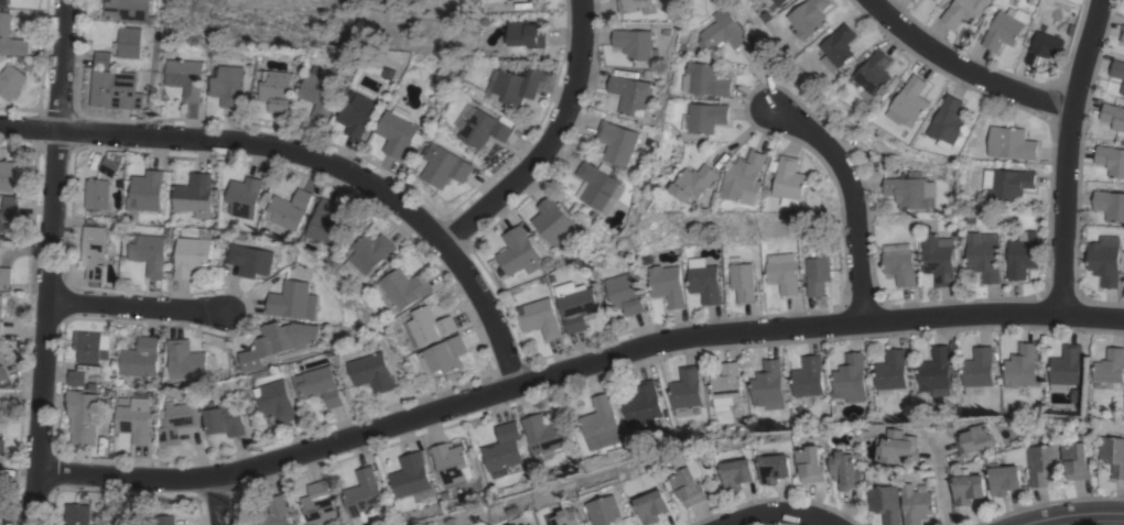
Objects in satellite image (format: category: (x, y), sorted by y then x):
building: (529, 0)
building: (911, 0)
building: (914, 0)
building: (931, 0)
building: (934, 0)
building: (4, 2)
building: (777, 3)
building: (637, 6)
building: (126, 9)
building: (963, 11)
building: (811, 18)
building: (4, 25)
building: (1004, 29)
building: (722, 30)
building: (528, 33)
building: (1122, 34)
building: (128, 42)
building: (635, 44)
building: (840, 47)
building: (1042, 48)
building: (102, 58)
building: (1117, 68)
road: (962, 69)
building: (875, 72)
building: (185, 77)
building: (705, 79)
building: (11, 81)
building: (227, 85)
building: (516, 85)
building: (1123, 88)
building: (115, 89)
building: (275, 90)
building: (318, 92)
building: (630, 94)
building: (910, 102)
building: (356, 114)
building: (1113, 116)
building: (707, 117)
building: (948, 122)
building: (483, 127)
building: (397, 131)
road: (544, 141)
building: (616, 142)
building: (1010, 142)
road: (1064, 154)
road: (313, 158)
building: (1111, 160)
building: (108, 166)
building: (445, 166)
building: (8, 175)
building: (747, 178)
building: (700, 179)
building: (791, 182)
building: (1007, 183)
building: (599, 187)
building: (147, 190)
building: (910, 192)
building: (97, 194)
road: (851, 194)
building: (195, 195)
building: (242, 197)
building: (1110, 205)
building: (8, 209)
building: (289, 209)
building: (551, 220)
building: (327, 223)
building: (93, 251)
building: (149, 252)
building: (518, 252)
building: (192, 255)
building: (370, 255)
building: (983, 255)
building: (1020, 258)
building: (250, 260)
building: (938, 260)
building: (1104, 260)
road: (46, 262)
building: (899, 263)
building: (782, 272)
building: (6, 274)
building: (817, 275)
building: (703, 280)
building: (742, 280)
building: (666, 284)
building: (404, 288)
building: (625, 293)
building: (292, 300)
building: (575, 304)
building: (1, 306)
road: (133, 307)
building: (540, 318)
building: (432, 325)
building: (0, 328)
building: (277, 342)
building: (91, 346)
building: (445, 356)
building: (142, 359)
building: (185, 360)
building: (1110, 365)
road: (573, 368)
building: (1066, 368)
building: (1022, 369)
building: (977, 370)
building: (372, 372)
building: (890, 372)
building: (936, 372)
building: (2, 373)
building: (808, 376)
building: (76, 378)
building: (850, 379)
building: (320, 385)
building: (725, 385)
building: (768, 385)
building: (685, 390)
building: (278, 401)
building: (641, 403)
building: (83, 415)
building: (134, 419)
building: (177, 420)
building: (226, 420)
building: (1, 423)
building: (599, 424)
building: (543, 436)
building: (979, 439)
building: (2, 446)
building: (899, 447)
building: (502, 449)
building: (1114, 453)
building: (1077, 458)
building: (451, 463)
building: (1044, 463)
building: (811, 464)
building: (775, 468)
building: (847, 469)
building: (738, 473)
building: (412, 478)
building: (1005, 480)
building: (690, 486)
road: (940, 486)
building: (968, 486)
building: (363, 493)
road: (217, 500)
building: (886, 503)
building: (318, 504)
building: (918, 505)
building: (653, 506)
building: (605, 510)
building: (270, 512)
road: (1068, 513)
building: (77, 514)
road: (779, 514)
building: (565, 517)
building: (165, 519)
building: (521, 521)
building: (121, 523)
building: (532, 524)

